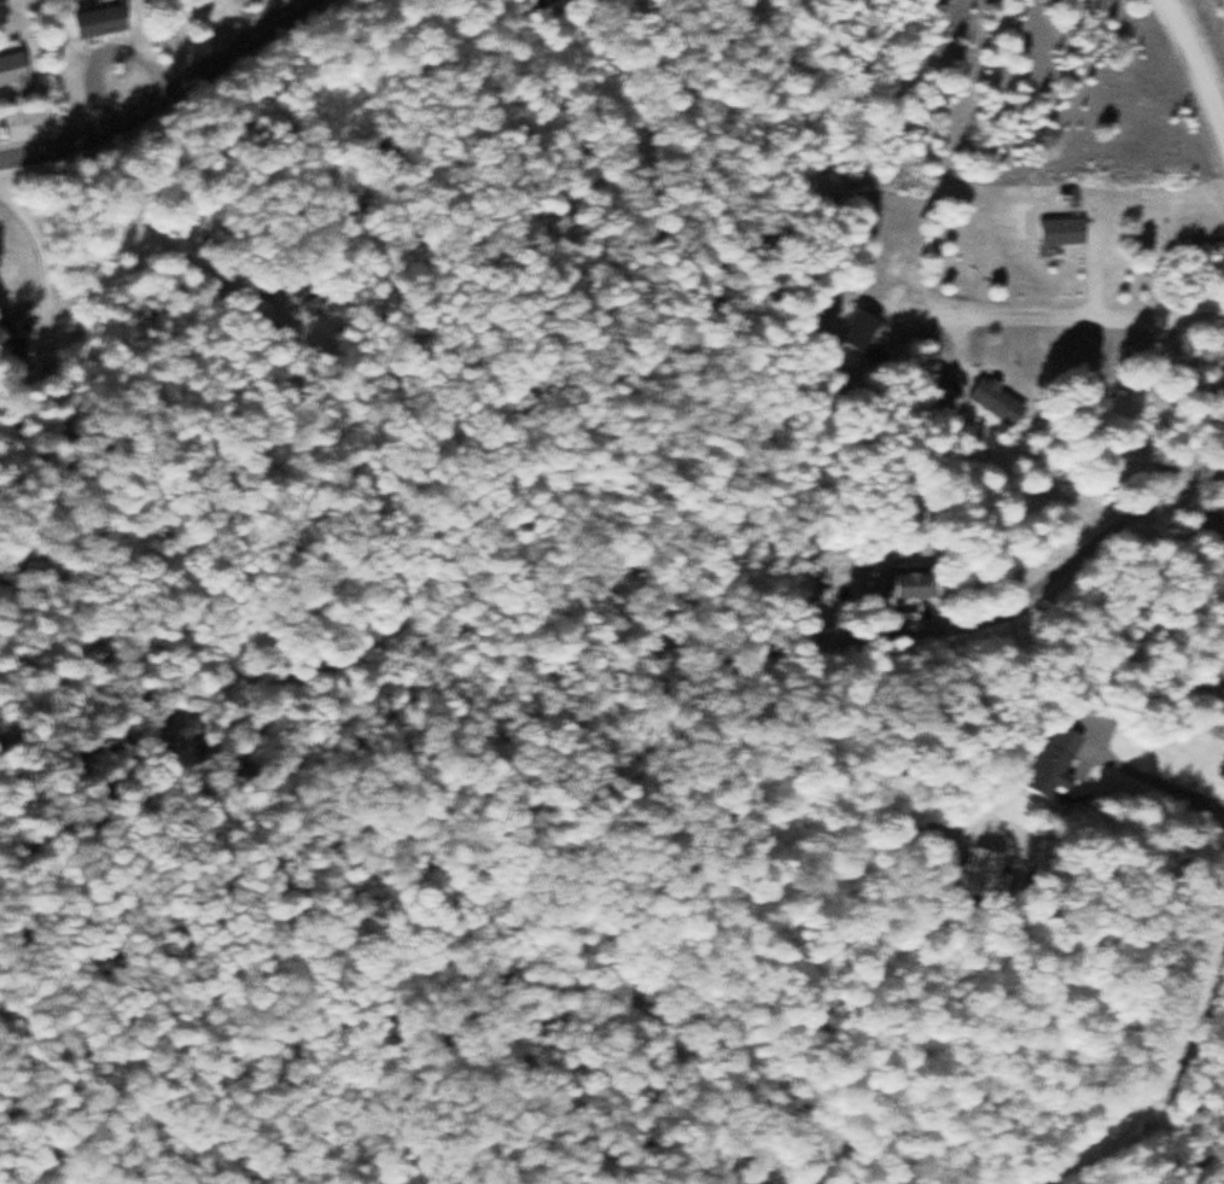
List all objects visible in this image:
building: (95, 18)
road: (1201, 48)
building: (13, 71)
road: (165, 101)
building: (1062, 228)
road: (1076, 317)
building: (859, 327)
building: (13, 343)
building: (998, 398)
building: (910, 579)
building: (1051, 759)
road: (1159, 1089)
building: (816, 1180)

